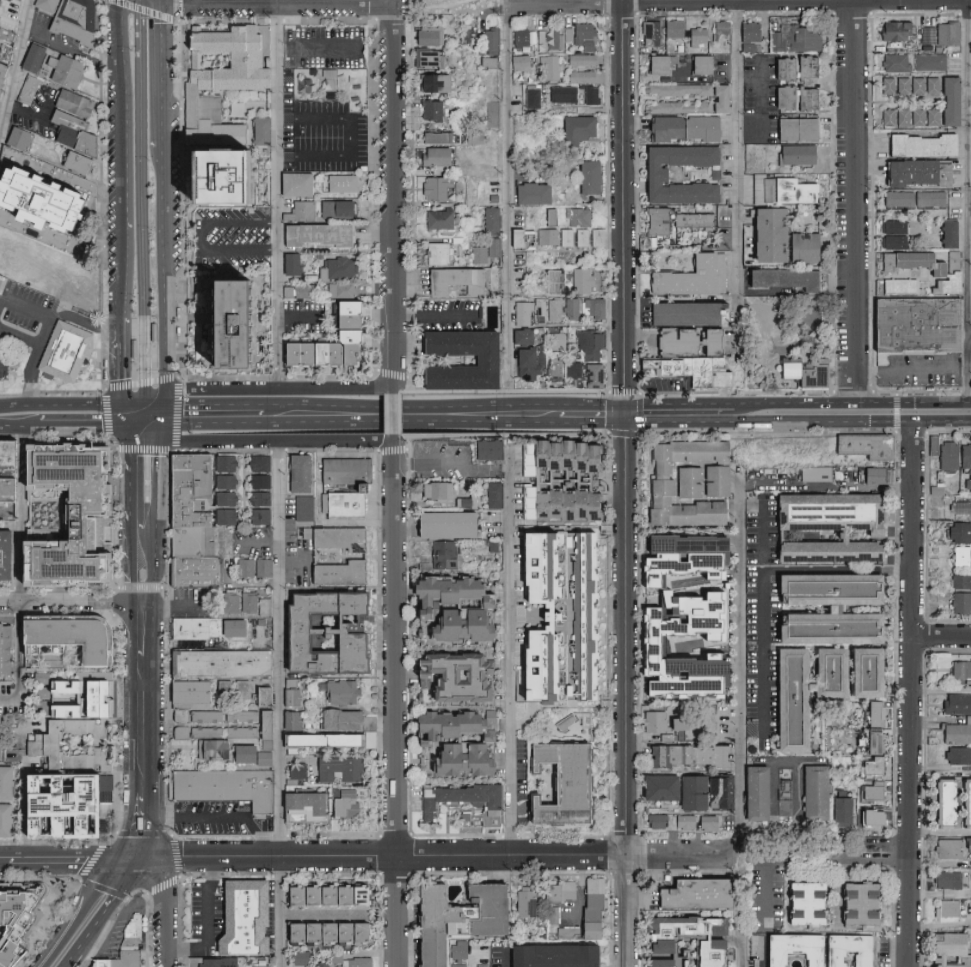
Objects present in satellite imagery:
road: (521, 0)
road: (736, 0)
road: (278, 1)
road: (315, 2)
building: (42, 4)
road: (156, 7)
road: (447, 9)
road: (143, 10)
building: (72, 19)
road: (125, 24)
building: (719, 26)
building: (672, 28)
building: (891, 30)
building: (747, 31)
building: (567, 33)
building: (648, 33)
building: (945, 33)
building: (583, 35)
building: (925, 35)
building: (425, 36)
building: (695, 36)
building: (519, 37)
building: (804, 38)
building: (489, 39)
building: (773, 39)
building: (550, 40)
building: (970, 40)
building: (5, 42)
building: (745, 46)
road: (75, 51)
building: (28, 57)
building: (427, 58)
building: (580, 60)
building: (928, 61)
building: (487, 62)
building: (519, 62)
building: (895, 62)
building: (655, 64)
building: (697, 64)
building: (804, 66)
building: (549, 67)
building: (1, 68)
building: (780, 68)
building: (61, 70)
road: (125, 71)
road: (16, 75)
building: (585, 76)
building: (217, 77)
building: (970, 77)
road: (157, 82)
building: (430, 82)
building: (302, 85)
building: (908, 85)
building: (32, 92)
building: (562, 94)
building: (590, 96)
building: (780, 96)
building: (531, 98)
building: (803, 98)
building: (516, 99)
building: (948, 100)
building: (234, 108)
building: (430, 109)
building: (76, 113)
building: (491, 113)
building: (901, 116)
building: (916, 116)
building: (931, 116)
building: (886, 117)
building: (61, 125)
building: (578, 127)
building: (681, 127)
building: (794, 128)
building: (257, 130)
road: (125, 137)
building: (434, 137)
building: (473, 137)
building: (14, 138)
parking lot: (330, 139)
building: (70, 142)
building: (919, 145)
building: (90, 151)
building: (795, 154)
building: (430, 156)
building: (914, 172)
building: (651, 173)
building: (588, 176)
road: (735, 177)
building: (220, 180)
building: (339, 182)
building: (291, 183)
road: (393, 185)
building: (433, 187)
building: (785, 190)
road: (140, 191)
building: (529, 193)
road: (505, 195)
road: (278, 196)
building: (911, 198)
road: (855, 201)
road: (965, 201)
building: (33, 203)
building: (969, 203)
building: (335, 208)
building: (300, 209)
building: (549, 217)
building: (578, 217)
building: (436, 218)
road: (103, 219)
building: (692, 219)
building: (491, 220)
building: (655, 220)
road: (182, 224)
building: (890, 226)
building: (946, 233)
building: (313, 234)
building: (764, 234)
building: (547, 236)
building: (515, 237)
building: (565, 237)
building: (581, 237)
building: (597, 237)
road: (204, 238)
parking lot: (231, 239)
building: (890, 241)
building: (494, 246)
building: (799, 247)
road: (127, 249)
building: (434, 253)
building: (32, 254)
building: (478, 254)
building: (8, 258)
building: (910, 262)
building: (288, 263)
building: (335, 267)
building: (692, 276)
road: (157, 277)
building: (783, 278)
building: (453, 279)
building: (581, 280)
building: (550, 282)
building: (36, 283)
building: (947, 283)
building: (897, 285)
building: (1, 286)
building: (339, 289)
building: (781, 289)
building: (302, 290)
building: (77, 301)
building: (538, 306)
building: (595, 307)
building: (570, 308)
building: (553, 309)
building: (340, 313)
building: (520, 313)
building: (681, 313)
road: (60, 317)
building: (211, 324)
building: (920, 328)
road: (128, 331)
building: (153, 332)
road: (20, 334)
building: (519, 336)
road: (969, 338)
building: (674, 340)
building: (555, 341)
building: (707, 341)
building: (589, 344)
building: (133, 348)
building: (320, 350)
building: (969, 352)
road: (34, 358)
building: (67, 358)
building: (479, 359)
building: (524, 365)
building: (555, 369)
building: (572, 369)
road: (912, 371)
building: (802, 373)
road: (129, 375)
building: (593, 375)
building: (695, 378)
building: (820, 380)
road: (394, 381)
road: (141, 383)
traffic signals: (158, 388)
road: (235, 391)
road: (354, 391)
road: (136, 394)
road: (151, 394)
road: (928, 403)
road: (962, 403)
road: (970, 403)
road: (868, 404)
road: (64, 405)
traffic signals: (129, 405)
road: (143, 405)
traffic signals: (158, 405)
road: (781, 405)
building: (406, 408)
road: (167, 409)
road: (394, 412)
road: (219, 413)
road: (413, 413)
road: (595, 413)
traffic signals: (628, 413)
road: (679, 413)
road: (129, 416)
road: (159, 416)
road: (168, 420)
road: (970, 420)
road: (791, 421)
road: (887, 421)
road: (944, 421)
road: (21, 427)
road: (85, 427)
traffic signals: (130, 427)
road: (145, 427)
traffic signals: (160, 427)
road: (130, 438)
road: (159, 438)
road: (232, 439)
road: (114, 442)
road: (352, 443)
road: (395, 447)
road: (145, 449)
building: (0, 450)
building: (486, 450)
building: (697, 450)
building: (873, 452)
building: (942, 453)
building: (563, 455)
building: (965, 455)
building: (658, 460)
road: (434, 461)
building: (257, 462)
building: (223, 463)
road: (145, 466)
road: (491, 469)
building: (342, 470)
building: (295, 473)
building: (814, 473)
building: (873, 475)
building: (223, 481)
building: (258, 481)
building: (714, 481)
building: (688, 482)
road: (627, 483)
building: (804, 483)
building: (883, 483)
road: (129, 484)
building: (967, 484)
building: (935, 489)
building: (432, 490)
building: (191, 491)
building: (491, 494)
road: (155, 498)
building: (223, 498)
building: (257, 498)
building: (100, 499)
building: (65, 500)
building: (340, 504)
building: (560, 504)
building: (301, 507)
building: (960, 507)
building: (677, 508)
building: (827, 509)
road: (21, 514)
building: (258, 515)
building: (223, 516)
building: (440, 524)
building: (958, 532)
building: (333, 538)
building: (193, 542)
building: (666, 544)
building: (490, 545)
building: (825, 550)
building: (443, 554)
building: (959, 555)
road: (132, 563)
building: (541, 565)
building: (673, 565)
building: (584, 566)
building: (253, 567)
building: (196, 572)
building: (334, 572)
road: (152, 575)
road: (762, 576)
building: (960, 580)
building: (824, 586)
building: (436, 593)
road: (72, 601)
building: (245, 602)
building: (960, 602)
building: (261, 606)
building: (449, 626)
road: (145, 628)
building: (195, 628)
building: (825, 628)
building: (316, 632)
road: (943, 635)
building: (63, 636)
building: (644, 649)
building: (2, 650)
road: (508, 653)
building: (71, 657)
road: (19, 658)
road: (736, 664)
building: (226, 667)
building: (538, 667)
building: (960, 669)
building: (826, 672)
building: (862, 672)
building: (447, 675)
building: (230, 689)
building: (339, 691)
road: (914, 693)
building: (87, 694)
building: (196, 696)
building: (258, 696)
building: (290, 697)
building: (787, 700)
road: (280, 703)
building: (956, 704)
road: (396, 713)
building: (873, 713)
building: (204, 715)
building: (337, 719)
building: (250, 720)
building: (289, 720)
building: (655, 722)
road: (144, 724)
building: (441, 726)
building: (240, 731)
building: (956, 731)
building: (860, 738)
building: (316, 739)
building: (369, 739)
building: (203, 741)
building: (873, 744)
building: (241, 754)
building: (666, 755)
building: (708, 755)
building: (957, 755)
building: (83, 756)
building: (262, 757)
building: (454, 760)
road: (775, 764)
building: (870, 765)
building: (970, 768)
building: (337, 769)
building: (294, 770)
building: (554, 784)
building: (233, 786)
building: (784, 787)
building: (661, 788)
building: (871, 791)
building: (814, 792)
building: (688, 793)
building: (718, 793)
building: (752, 793)
building: (93, 800)
building: (967, 801)
building: (941, 802)
building: (300, 804)
building: (343, 804)
building: (783, 807)
building: (483, 808)
building: (840, 808)
building: (65, 810)
building: (868, 816)
road: (215, 817)
parking lot: (218, 819)
building: (656, 821)
building: (686, 822)
building: (708, 823)
road: (141, 825)
building: (967, 843)
building: (946, 849)
road: (874, 852)
road: (438, 855)
road: (767, 857)
road: (69, 859)
traffic signals: (139, 860)
building: (945, 880)
building: (560, 891)
building: (691, 894)
building: (352, 895)
building: (287, 896)
building: (303, 896)
building: (320, 896)
building: (335, 896)
building: (592, 899)
building: (525, 902)
building: (802, 903)
building: (856, 904)
road: (86, 908)
road: (166, 908)
building: (946, 909)
road: (102, 914)
building: (451, 914)
building: (552, 914)
building: (253, 919)
building: (20, 921)
road: (209, 922)
building: (679, 926)
building: (587, 930)
building: (288, 932)
building: (304, 932)
building: (320, 932)
building: (336, 932)
building: (352, 932)
building: (130, 947)
building: (655, 947)
building: (943, 948)
building: (456, 950)
building: (789, 950)
building: (845, 951)
road: (763, 952)
building: (970, 952)
building: (702, 953)
road: (741, 953)
building: (334, 955)
building: (550, 956)
building: (297, 958)
road: (504, 958)
building: (210, 962)
building: (357, 962)
building: (652, 963)
building: (258, 965)
building: (323, 965)
building: (458, 965)
building: (478, 966)

